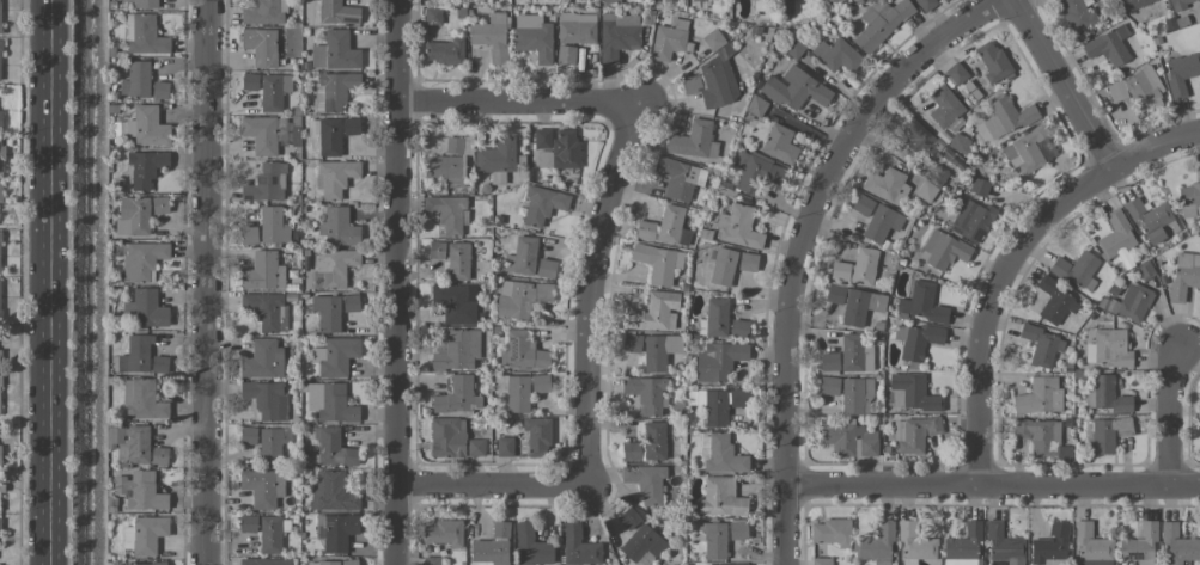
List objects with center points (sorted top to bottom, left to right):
building: (698, 0)
building: (839, 0)
building: (1094, 0)
building: (610, 1)
building: (1181, 2)
building: (144, 4)
building: (1134, 4)
building: (925, 5)
building: (0, 11)
building: (264, 13)
building: (337, 13)
building: (1076, 14)
building: (432, 16)
building: (878, 25)
building: (575, 29)
building: (144, 35)
building: (489, 36)
building: (617, 36)
building: (532, 37)
building: (669, 38)
building: (260, 47)
building: (1108, 47)
building: (444, 51)
building: (334, 53)
building: (565, 55)
building: (835, 55)
building: (0, 56)
building: (992, 62)
building: (956, 73)
building: (1181, 73)
building: (718, 76)
building: (135, 80)
building: (249, 82)
road: (1061, 84)
building: (690, 85)
building: (1137, 87)
building: (794, 90)
building: (159, 91)
building: (273, 91)
building: (333, 91)
road: (517, 102)
building: (756, 106)
building: (943, 106)
building: (1006, 117)
building: (0, 118)
building: (146, 127)
building: (349, 127)
building: (263, 134)
building: (325, 136)
building: (915, 140)
building: (694, 141)
building: (779, 145)
building: (458, 146)
building: (556, 149)
building: (1025, 151)
building: (1, 156)
building: (497, 159)
building: (145, 167)
building: (446, 170)
building: (756, 173)
building: (335, 177)
building: (678, 178)
building: (266, 184)
building: (887, 186)
building: (0, 194)
building: (1190, 197)
building: (159, 205)
building: (542, 205)
building: (861, 205)
building: (447, 214)
building: (138, 216)
building: (971, 221)
building: (1151, 221)
building: (881, 223)
building: (272, 226)
building: (671, 226)
building: (738, 227)
building: (339, 228)
building: (645, 231)
building: (248, 235)
building: (1115, 237)
building: (0, 238)
road: (800, 242)
building: (435, 250)
building: (944, 250)
building: (520, 257)
road: (1010, 258)
building: (141, 260)
building: (457, 262)
building: (747, 262)
building: (657, 263)
building: (864, 264)
building: (723, 266)
building: (329, 269)
building: (544, 269)
building: (839, 270)
building: (1076, 270)
building: (263, 272)
building: (1184, 275)
road: (51, 282)
road: (206, 282)
road: (396, 282)
road: (591, 291)
building: (834, 294)
building: (519, 299)
building: (349, 302)
building: (453, 302)
building: (1055, 302)
building: (1133, 302)
building: (921, 303)
building: (860, 306)
building: (1199, 308)
building: (144, 309)
building: (266, 311)
building: (654, 312)
building: (327, 313)
building: (0, 317)
building: (715, 318)
building: (738, 327)
building: (915, 340)
building: (631, 343)
building: (1042, 346)
building: (1107, 349)
building: (456, 350)
building: (659, 351)
building: (522, 352)
building: (854, 354)
building: (135, 355)
building: (334, 356)
building: (0, 358)
building: (262, 361)
building: (718, 361)
building: (829, 362)
building: (159, 364)
building: (829, 386)
building: (523, 391)
building: (910, 393)
building: (645, 394)
building: (854, 394)
building: (1109, 395)
building: (457, 397)
building: (1038, 397)
building: (266, 399)
building: (142, 400)
building: (329, 403)
building: (719, 405)
road: (1168, 417)
building: (1108, 434)
building: (248, 435)
building: (913, 435)
building: (1038, 436)
building: (446, 437)
building: (536, 437)
building: (848, 440)
building: (653, 441)
building: (272, 444)
building: (142, 447)
building: (504, 447)
building: (475, 448)
building: (334, 449)
building: (631, 452)
building: (0, 455)
building: (720, 455)
building: (645, 481)
road: (991, 484)
road: (489, 485)
building: (262, 487)
building: (139, 491)
building: (0, 497)
building: (720, 498)
building: (629, 517)
building: (248, 523)
building: (0, 529)
building: (737, 530)
building: (335, 532)
building: (444, 533)
building: (830, 533)
building: (144, 535)
building: (269, 535)
building: (713, 541)
building: (877, 545)
building: (914, 545)
building: (1003, 545)
building: (1139, 545)
building: (492, 546)
building: (578, 546)
building: (641, 546)
building: (963, 546)
building: (1050, 546)
building: (1091, 546)
building: (1176, 546)
building: (531, 547)
building: (431, 560)
building: (264, 561)
building: (348, 561)
building: (821, 561)
building: (322, 563)
building: (145, 564)

